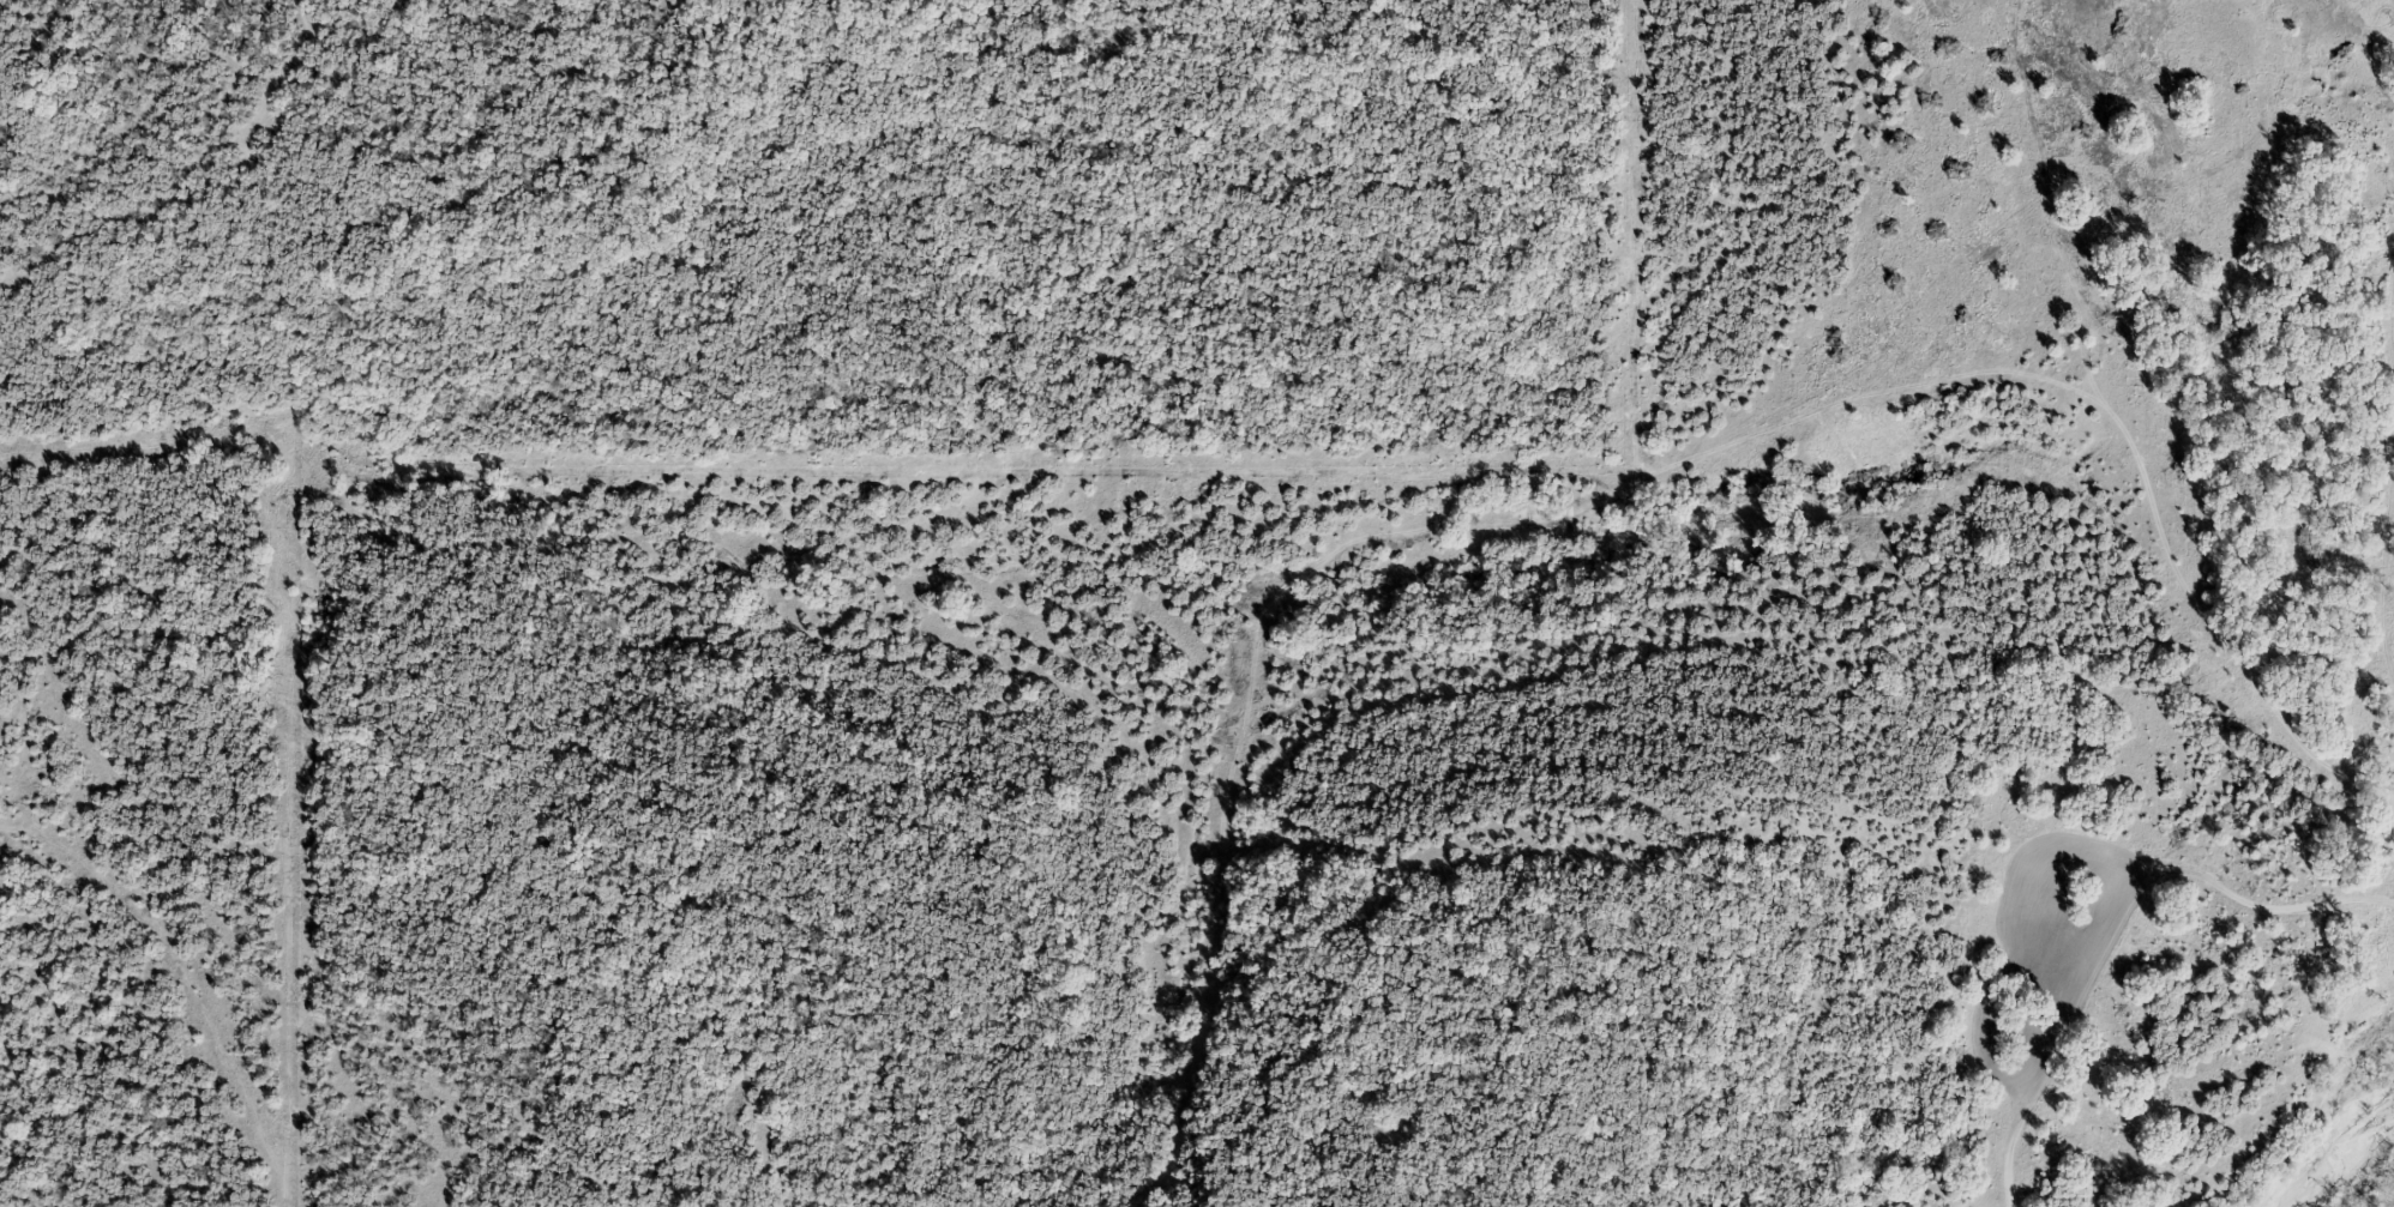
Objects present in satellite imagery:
river: (2371, 1179)

